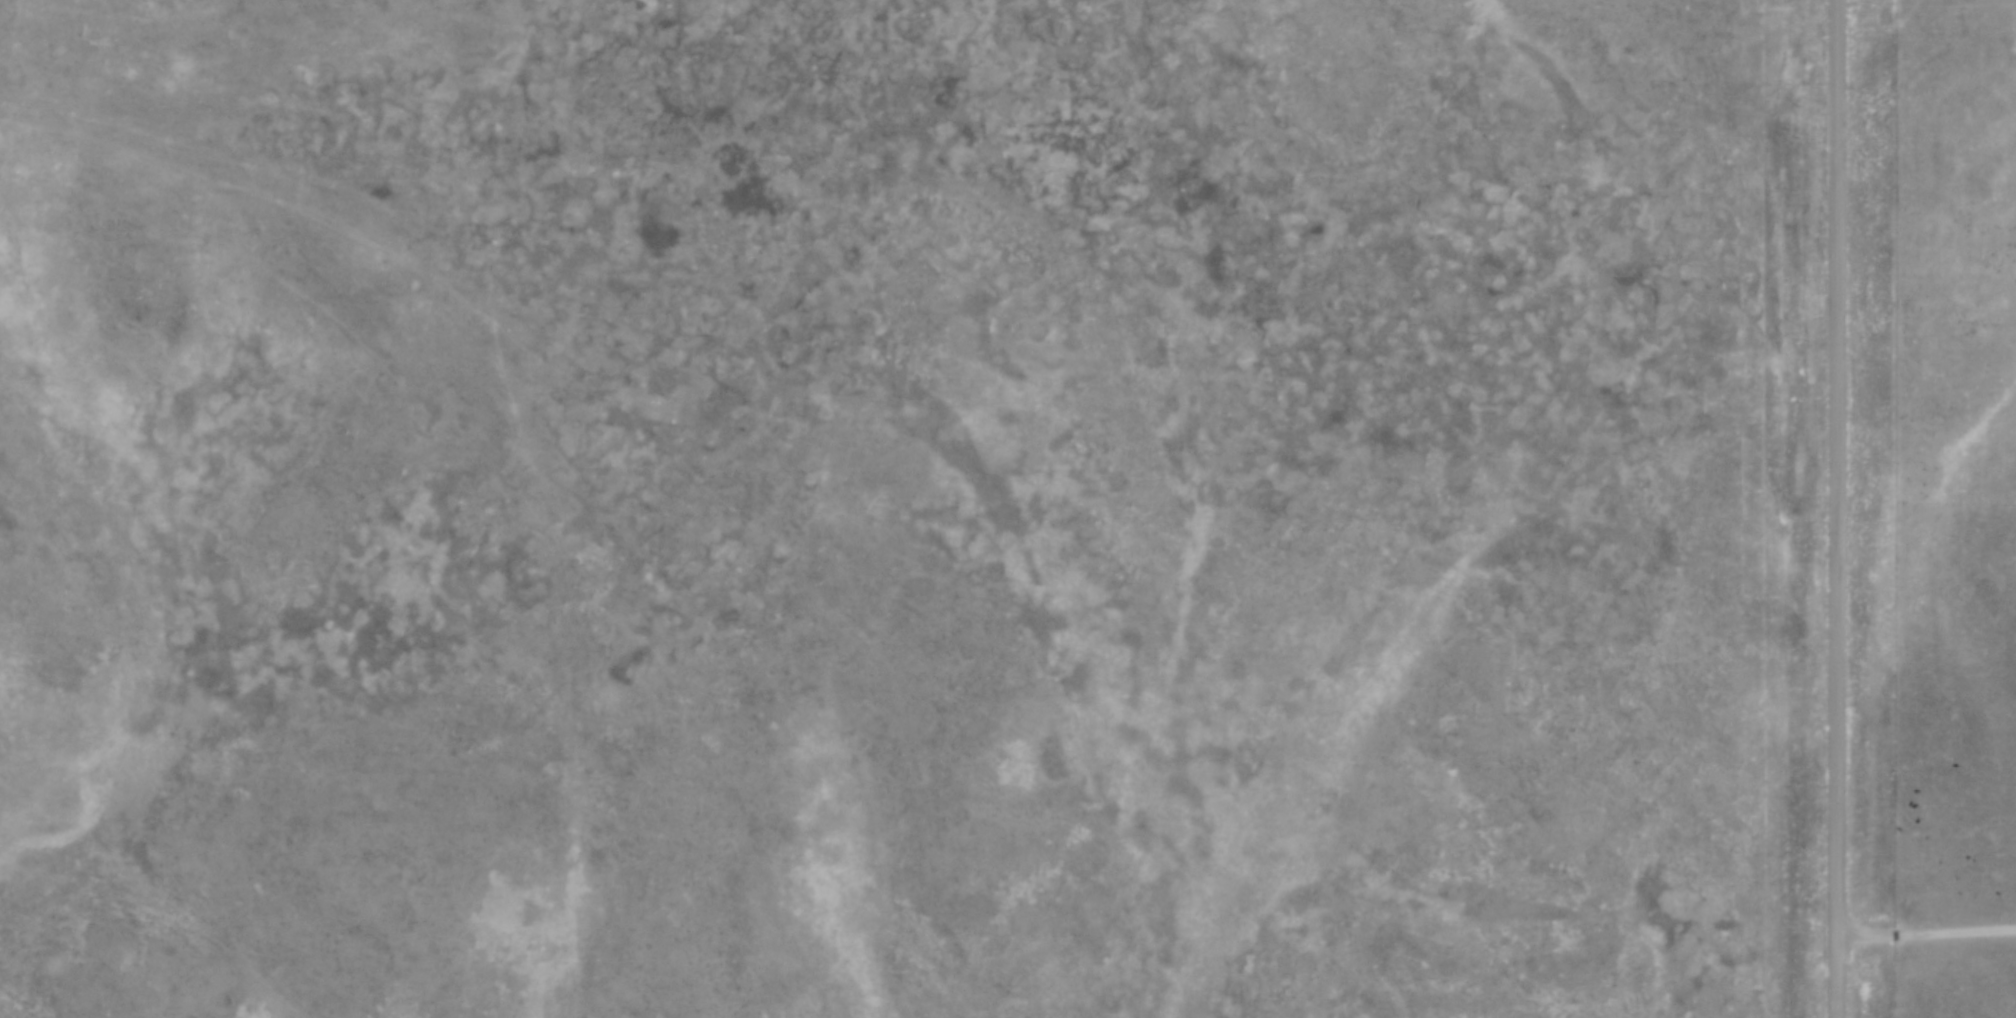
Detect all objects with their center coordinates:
road: (1835, 509)
road: (1926, 935)

